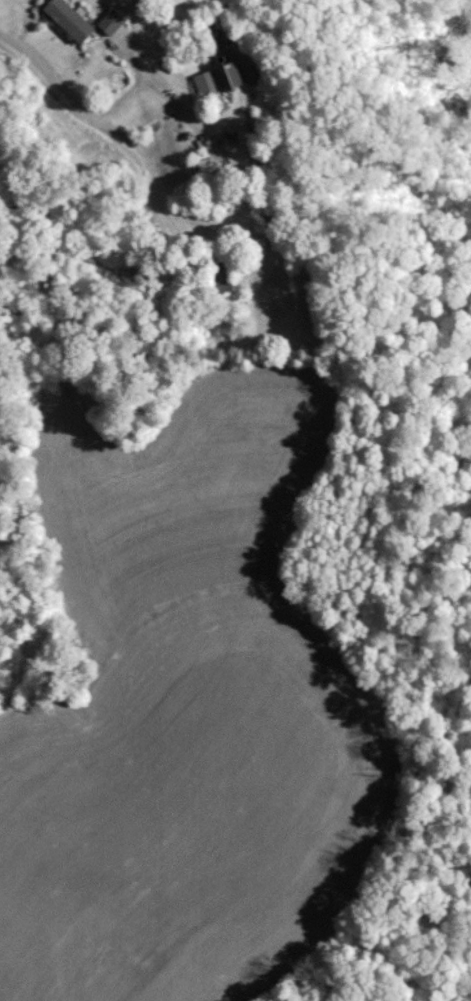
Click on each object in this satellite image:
building: (72, 20)
building: (113, 22)
building: (220, 81)
road: (67, 97)

